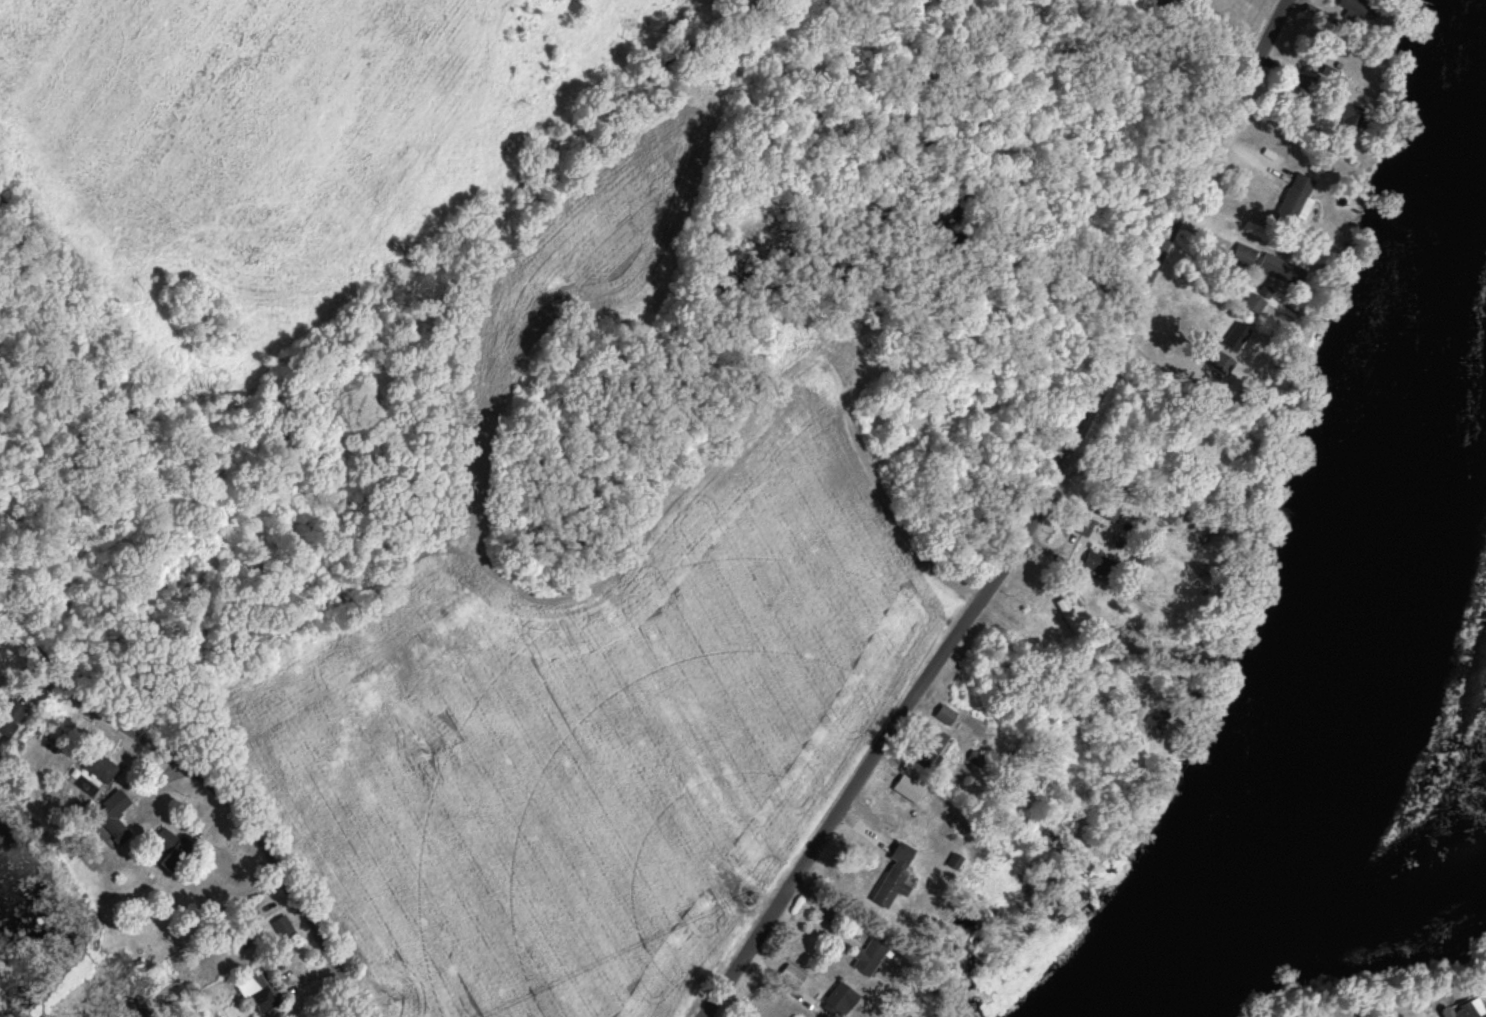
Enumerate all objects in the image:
building: (1348, 121)
building: (1293, 201)
building: (1242, 256)
building: (1273, 268)
building: (1256, 300)
road: (1023, 525)
building: (1080, 526)
building: (1096, 564)
river: (1419, 641)
road: (108, 714)
building: (942, 717)
building: (9, 719)
building: (926, 747)
building: (98, 769)
building: (112, 819)
building: (163, 850)
road: (277, 872)
building: (893, 877)
building: (192, 886)
building: (282, 929)
building: (241, 935)
building: (869, 955)
building: (791, 976)
building: (257, 988)
building: (839, 999)

